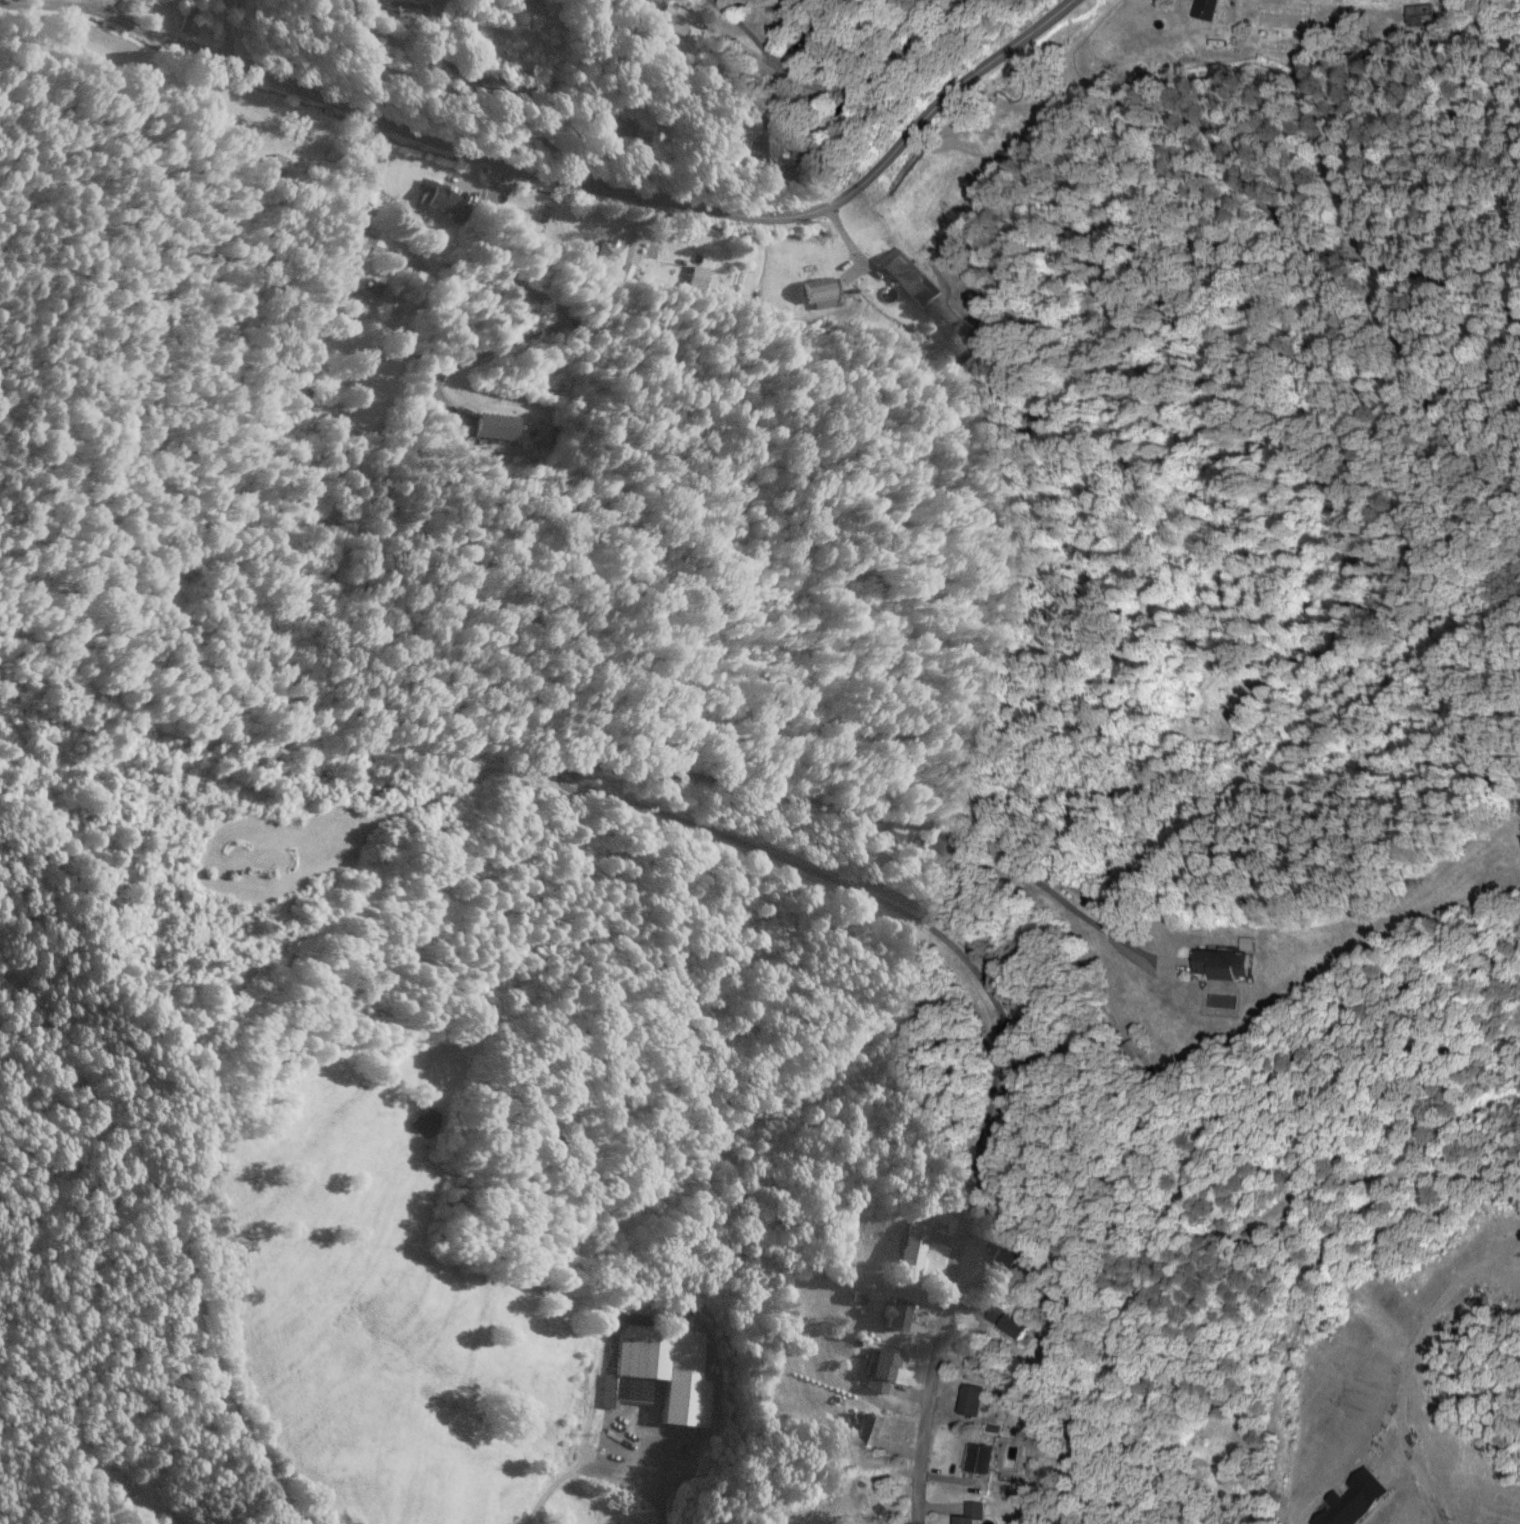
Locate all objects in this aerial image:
road: (66, 1)
road: (74, 1)
building: (157, 1)
building: (403, 7)
building: (1206, 9)
road: (779, 10)
building: (1419, 14)
building: (672, 17)
road: (230, 31)
road: (1117, 38)
building: (812, 39)
road: (834, 73)
building: (516, 88)
road: (552, 100)
building: (651, 129)
building: (773, 129)
building: (733, 134)
building: (327, 151)
building: (273, 166)
building: (783, 174)
road: (563, 183)
building: (439, 198)
building: (354, 238)
building: (608, 253)
building: (909, 277)
building: (695, 278)
building: (816, 292)
road: (454, 390)
building: (494, 425)
road: (607, 768)
building: (892, 832)
building: (1220, 963)
building: (911, 1244)
building: (1002, 1257)
road: (950, 1268)
building: (894, 1314)
building: (1007, 1321)
building: (879, 1369)
building: (656, 1370)
building: (971, 1399)
building: (864, 1428)
building: (980, 1458)
building: (1351, 1499)
building: (969, 1513)

